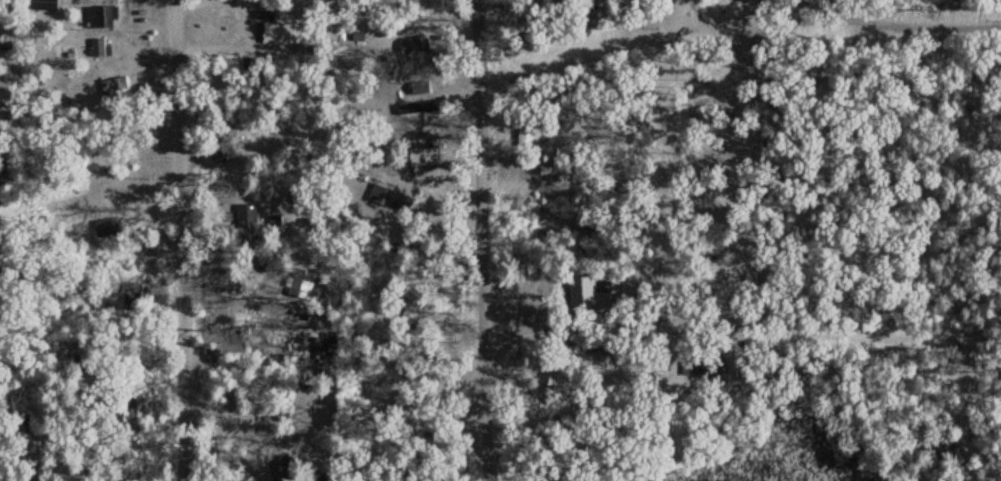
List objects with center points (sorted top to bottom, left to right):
building: (423, 107)
road: (543, 215)
road: (179, 240)
road: (474, 240)
road: (960, 282)
road: (830, 297)

